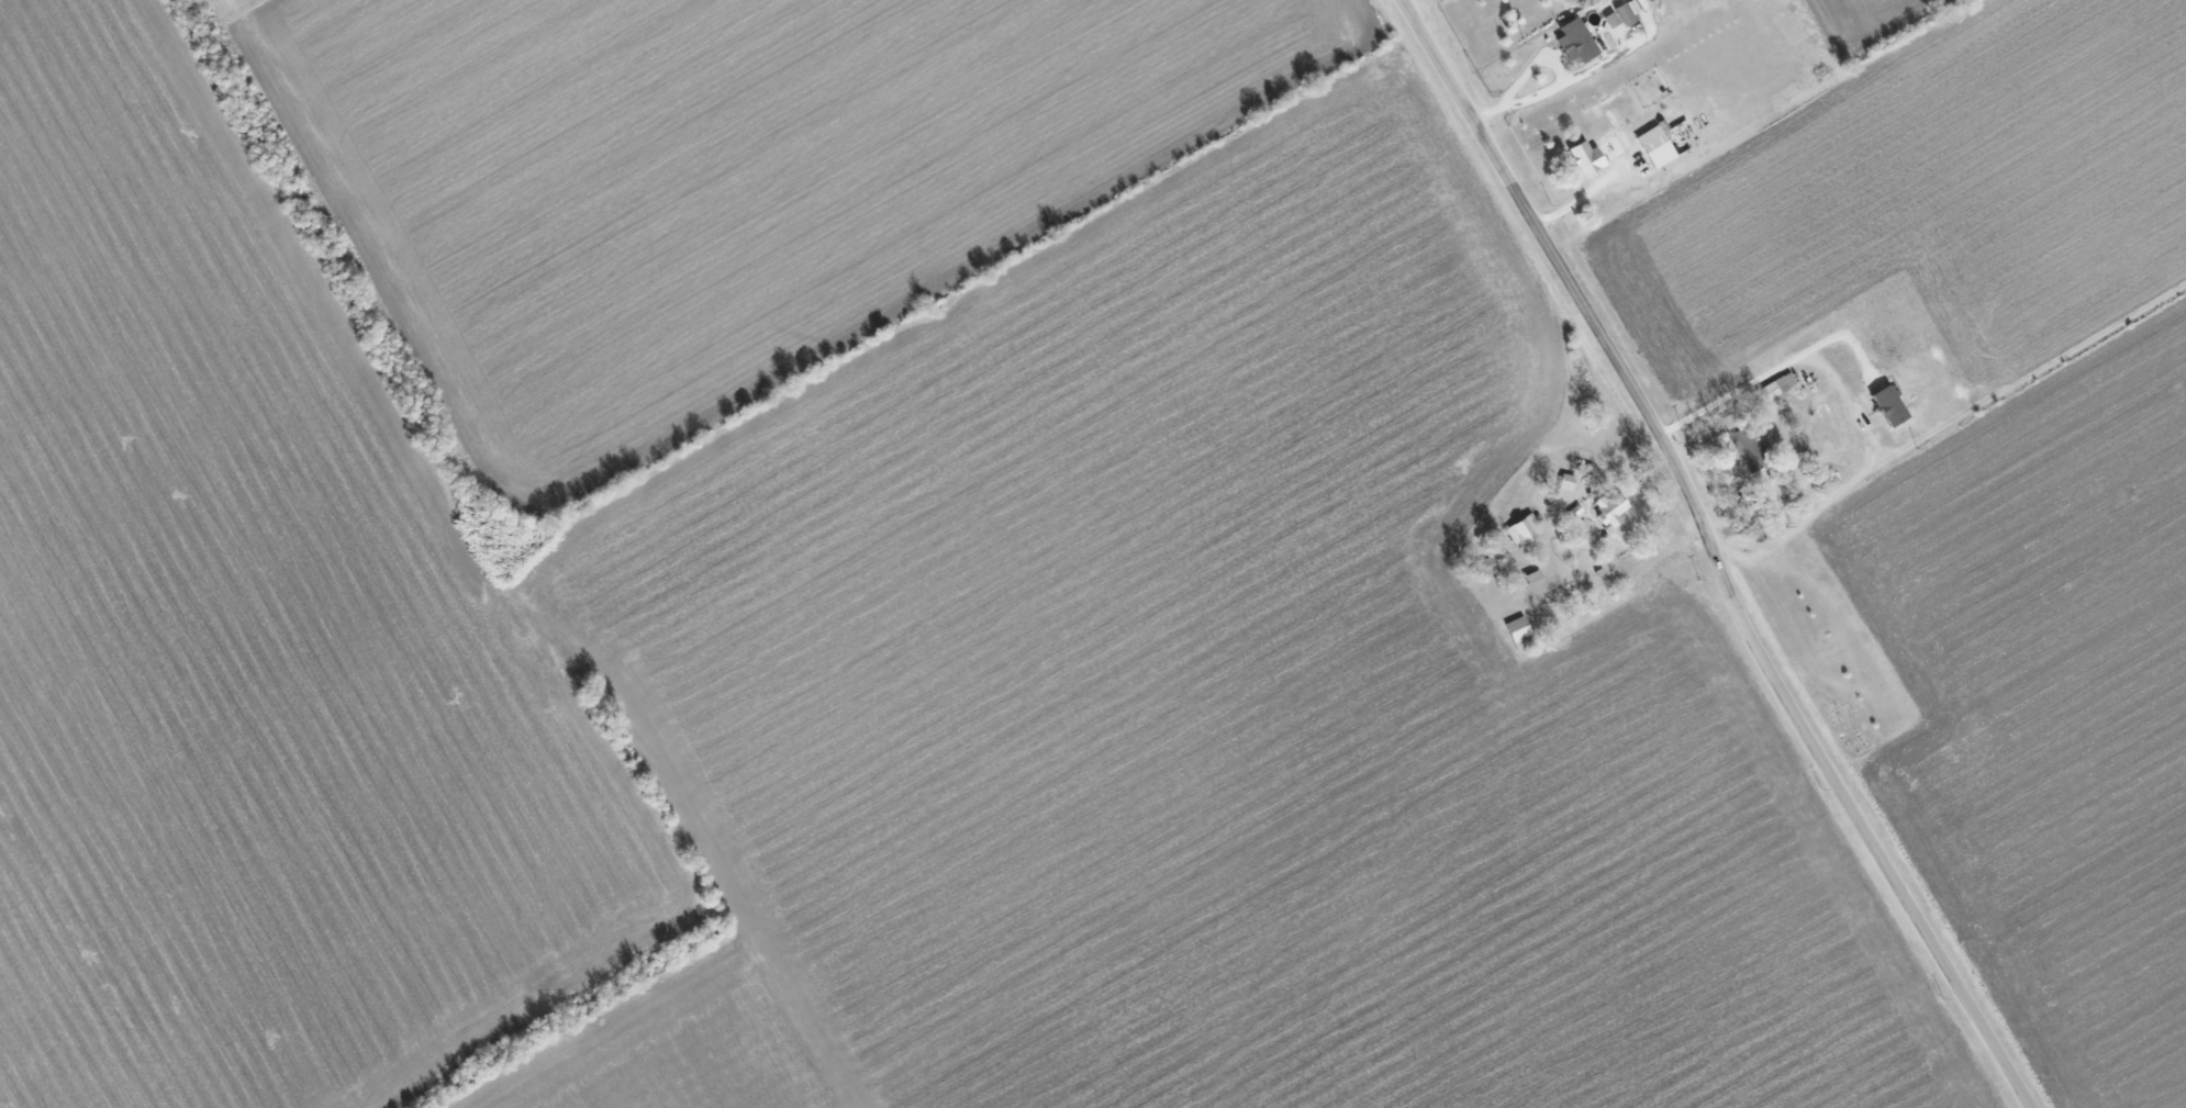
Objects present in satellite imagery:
road: (1419, 5)
building: (1621, 14)
building: (1609, 19)
building: (1573, 41)
road: (1527, 66)
road: (1543, 88)
building: (1652, 146)
building: (1583, 158)
road: (1576, 198)
road: (1749, 385)
building: (1775, 387)
building: (1885, 405)
building: (1563, 488)
building: (1608, 510)
building: (1521, 530)
road: (1714, 555)
building: (1517, 633)

